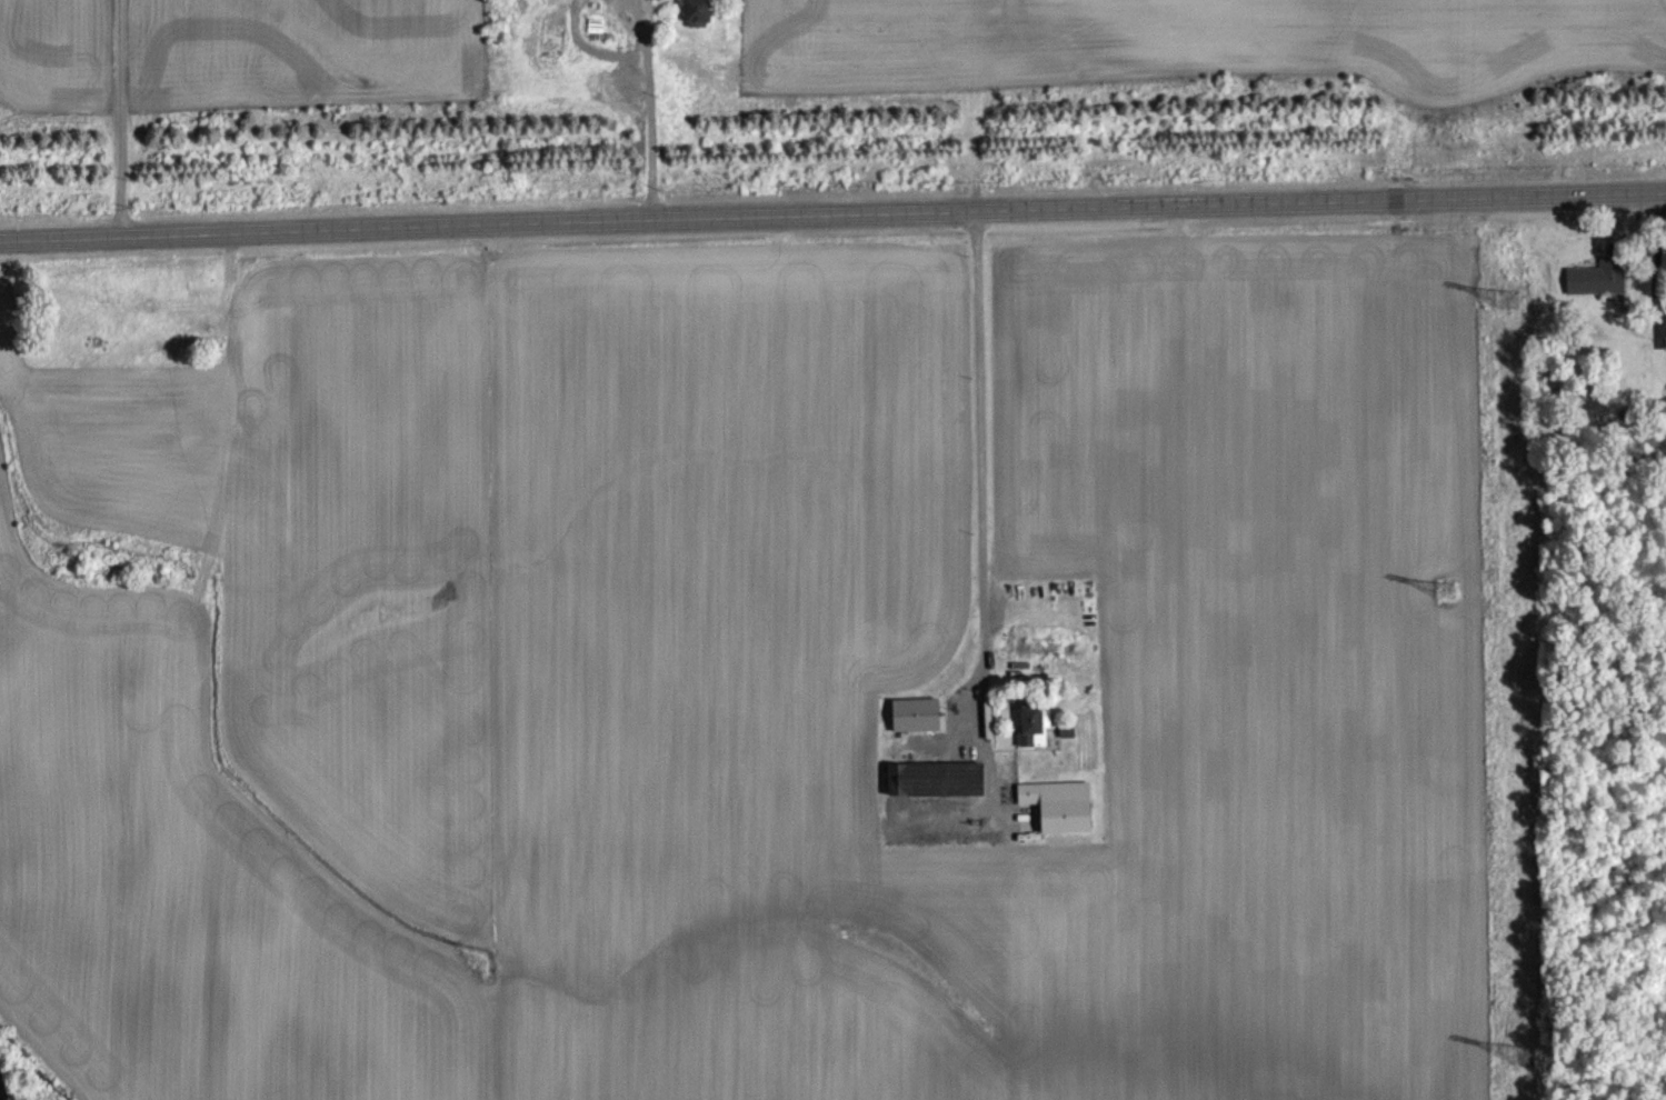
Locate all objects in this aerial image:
building: (562, 1)
building: (699, 21)
road: (651, 109)
road: (120, 118)
road: (832, 217)
building: (1598, 290)
power tower: (1516, 294)
road: (981, 469)
power tower: (1453, 588)
building: (917, 727)
building: (1032, 737)
building: (1046, 742)
building: (1068, 743)
building: (937, 791)
building: (1061, 818)
building: (1030, 829)
power tower: (1525, 1050)

